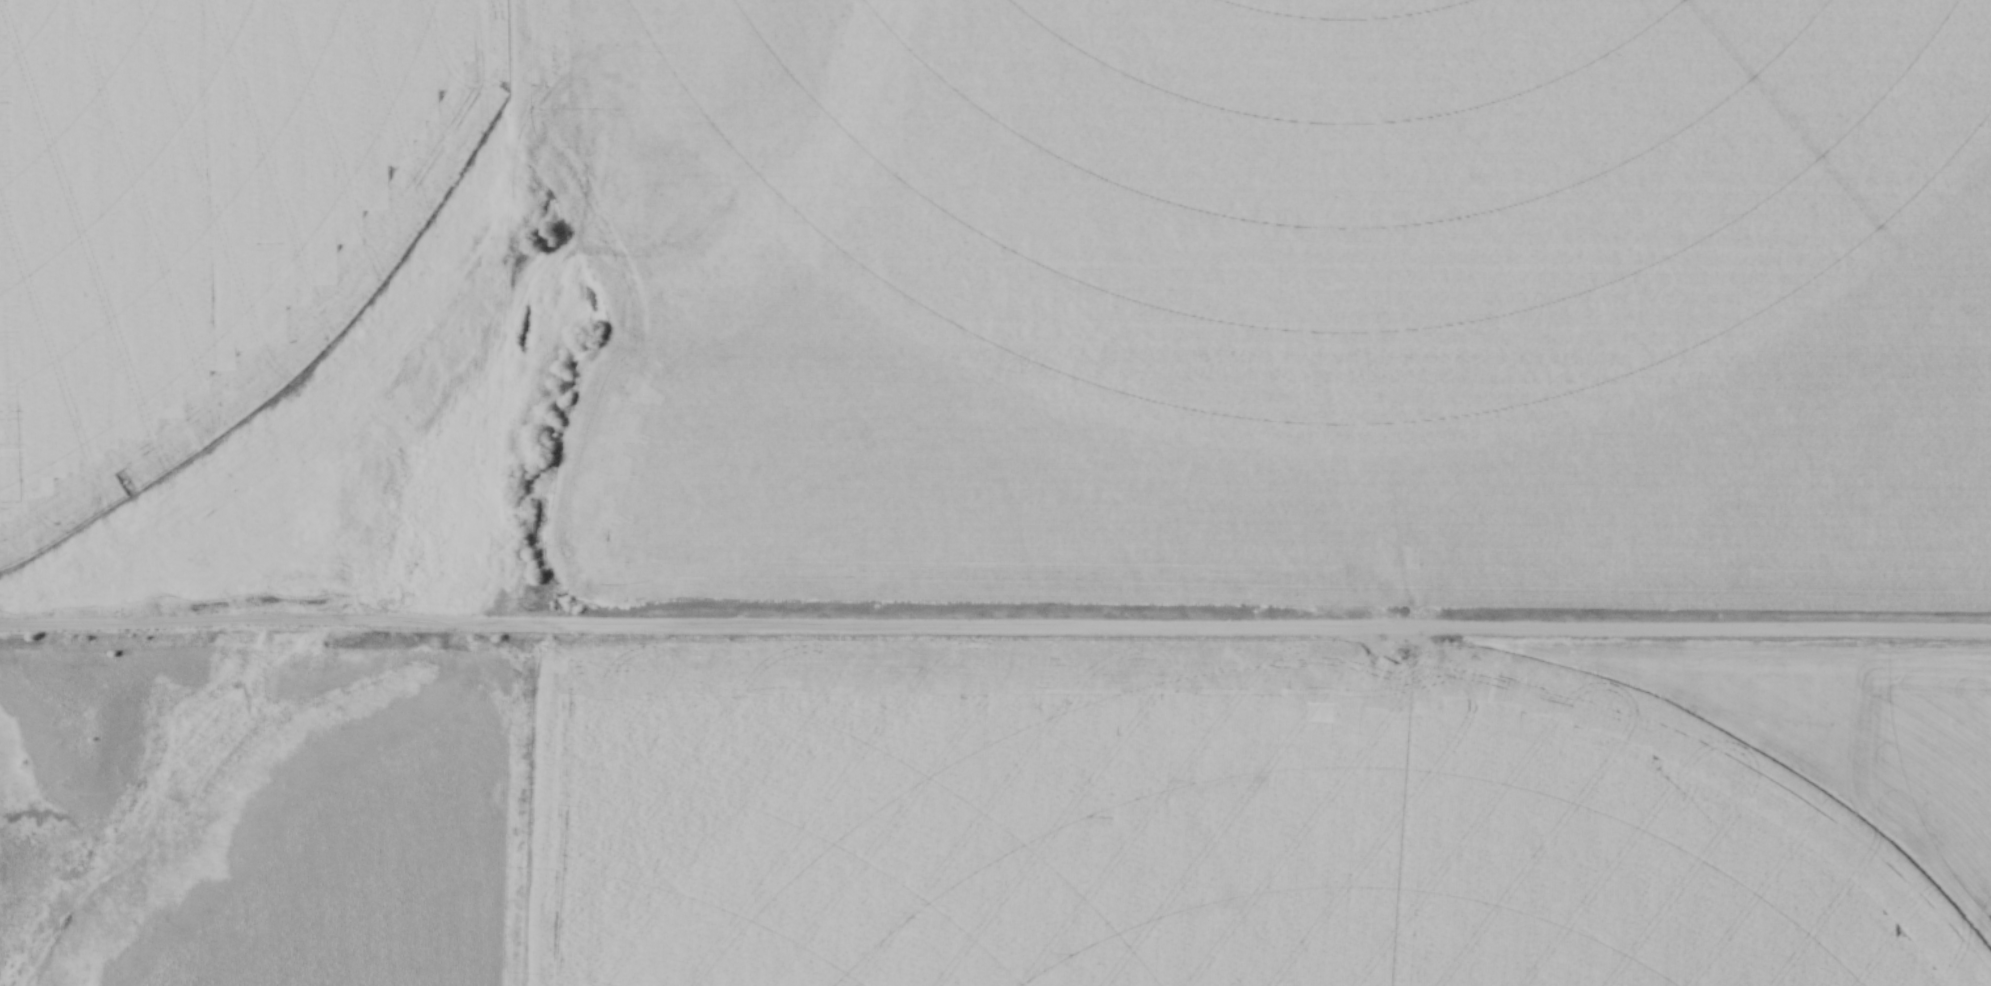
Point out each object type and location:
road: (995, 628)

